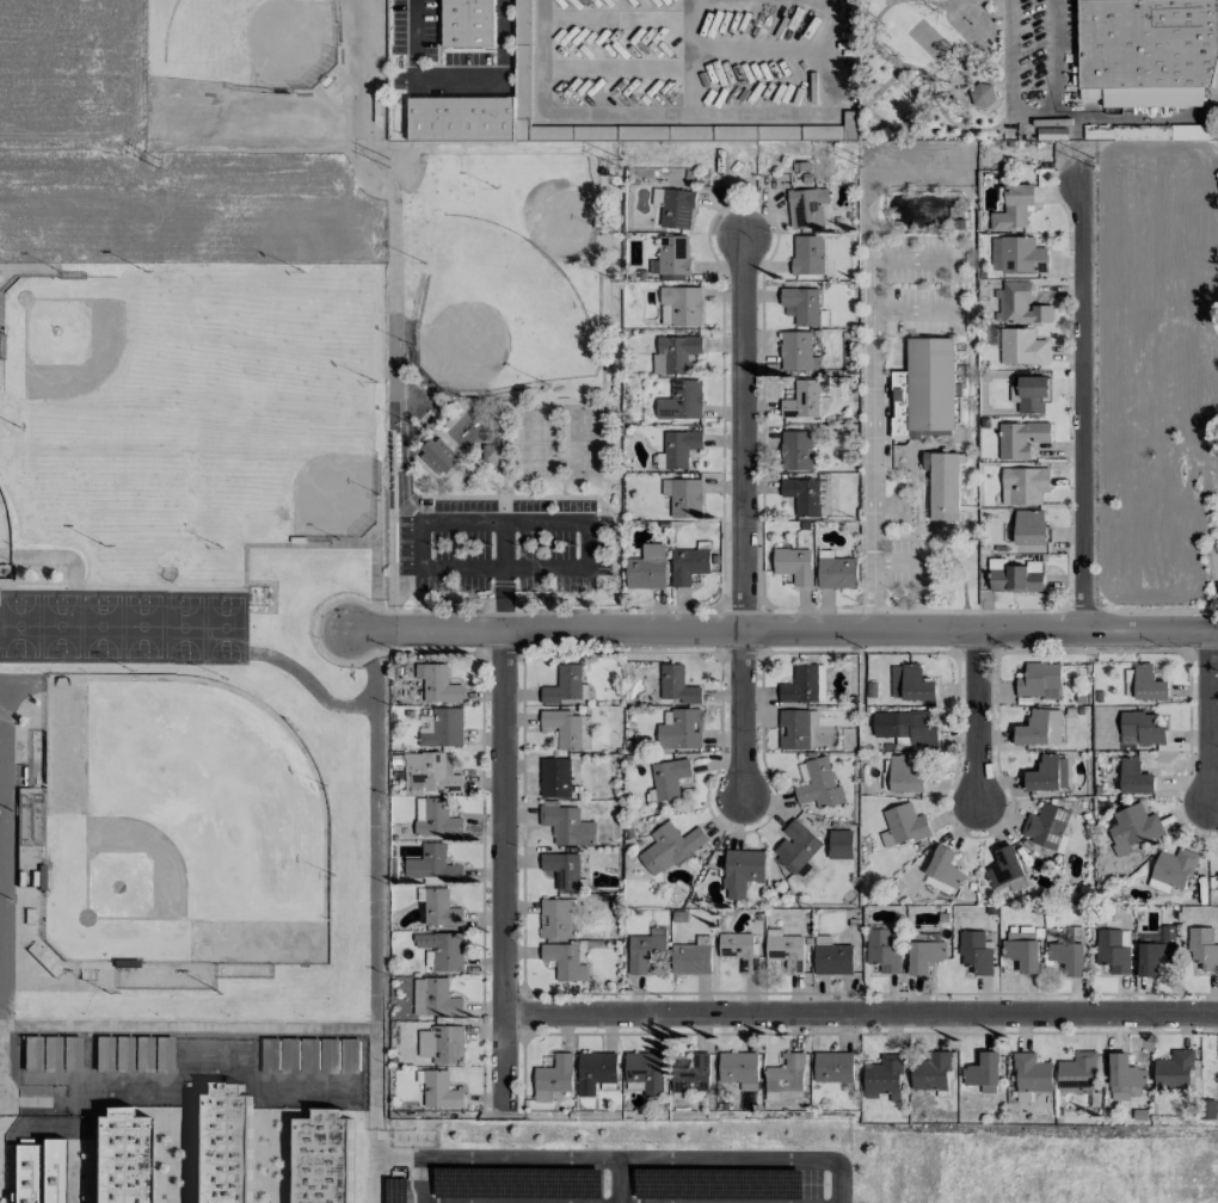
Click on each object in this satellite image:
building: (468, 23)
building: (522, 23)
building: (1148, 51)
road: (457, 80)
building: (841, 130)
building: (673, 206)
building: (806, 206)
building: (1014, 208)
building: (673, 254)
building: (807, 254)
building: (1017, 254)
park: (436, 294)
building: (1021, 304)
building: (681, 306)
building: (801, 306)
road: (872, 340)
building: (1022, 346)
building: (796, 351)
building: (675, 353)
building: (924, 389)
building: (1029, 394)
building: (801, 400)
building: (681, 401)
road: (1081, 409)
building: (1020, 438)
building: (679, 448)
building: (795, 450)
building: (491, 454)
building: (437, 456)
building: (942, 485)
building: (1023, 486)
building: (801, 495)
building: (683, 496)
road: (743, 520)
building: (1029, 526)
road: (504, 533)
building: (688, 565)
building: (794, 565)
building: (647, 567)
building: (836, 572)
road: (466, 573)
building: (1016, 578)
road: (785, 629)
building: (1038, 678)
building: (437, 683)
building: (1130, 683)
building: (677, 684)
building: (804, 684)
building: (916, 684)
building: (1149, 684)
building: (564, 686)
road: (1208, 716)
road: (978, 717)
building: (906, 726)
building: (442, 727)
building: (564, 728)
building: (1040, 728)
building: (1140, 728)
building: (679, 729)
building: (793, 729)
building: (431, 773)
building: (1047, 773)
building: (904, 776)
building: (554, 777)
building: (1134, 777)
building: (670, 778)
building: (819, 784)
building: (436, 818)
building: (905, 823)
building: (567, 825)
building: (1045, 825)
building: (1132, 828)
building: (839, 844)
building: (795, 846)
building: (670, 847)
building: (432, 863)
building: (1174, 866)
road: (505, 868)
building: (945, 868)
building: (562, 870)
building: (1005, 870)
building: (742, 871)
building: (1217, 872)
building: (438, 907)
building: (556, 918)
building: (1202, 948)
building: (645, 949)
building: (737, 949)
building: (785, 949)
building: (1113, 949)
building: (882, 950)
building: (1021, 950)
building: (448, 951)
building: (976, 952)
building: (1156, 952)
building: (924, 955)
building: (1068, 957)
building: (690, 958)
building: (832, 958)
building: (43, 960)
building: (565, 961)
building: (435, 998)
road: (862, 1018)
building: (443, 1044)
building: (833, 1067)
building: (739, 1069)
building: (595, 1071)
building: (1077, 1071)
building: (1174, 1071)
building: (646, 1072)
building: (691, 1072)
building: (983, 1073)
building: (786, 1075)
building: (1031, 1075)
building: (553, 1078)
building: (884, 1078)
building: (1125, 1078)
building: (439, 1090)
building: (221, 1145)
building: (119, 1156)
building: (322, 1158)
road: (496, 1159)
road: (748, 1160)
building: (37, 1172)
road: (617, 1182)

